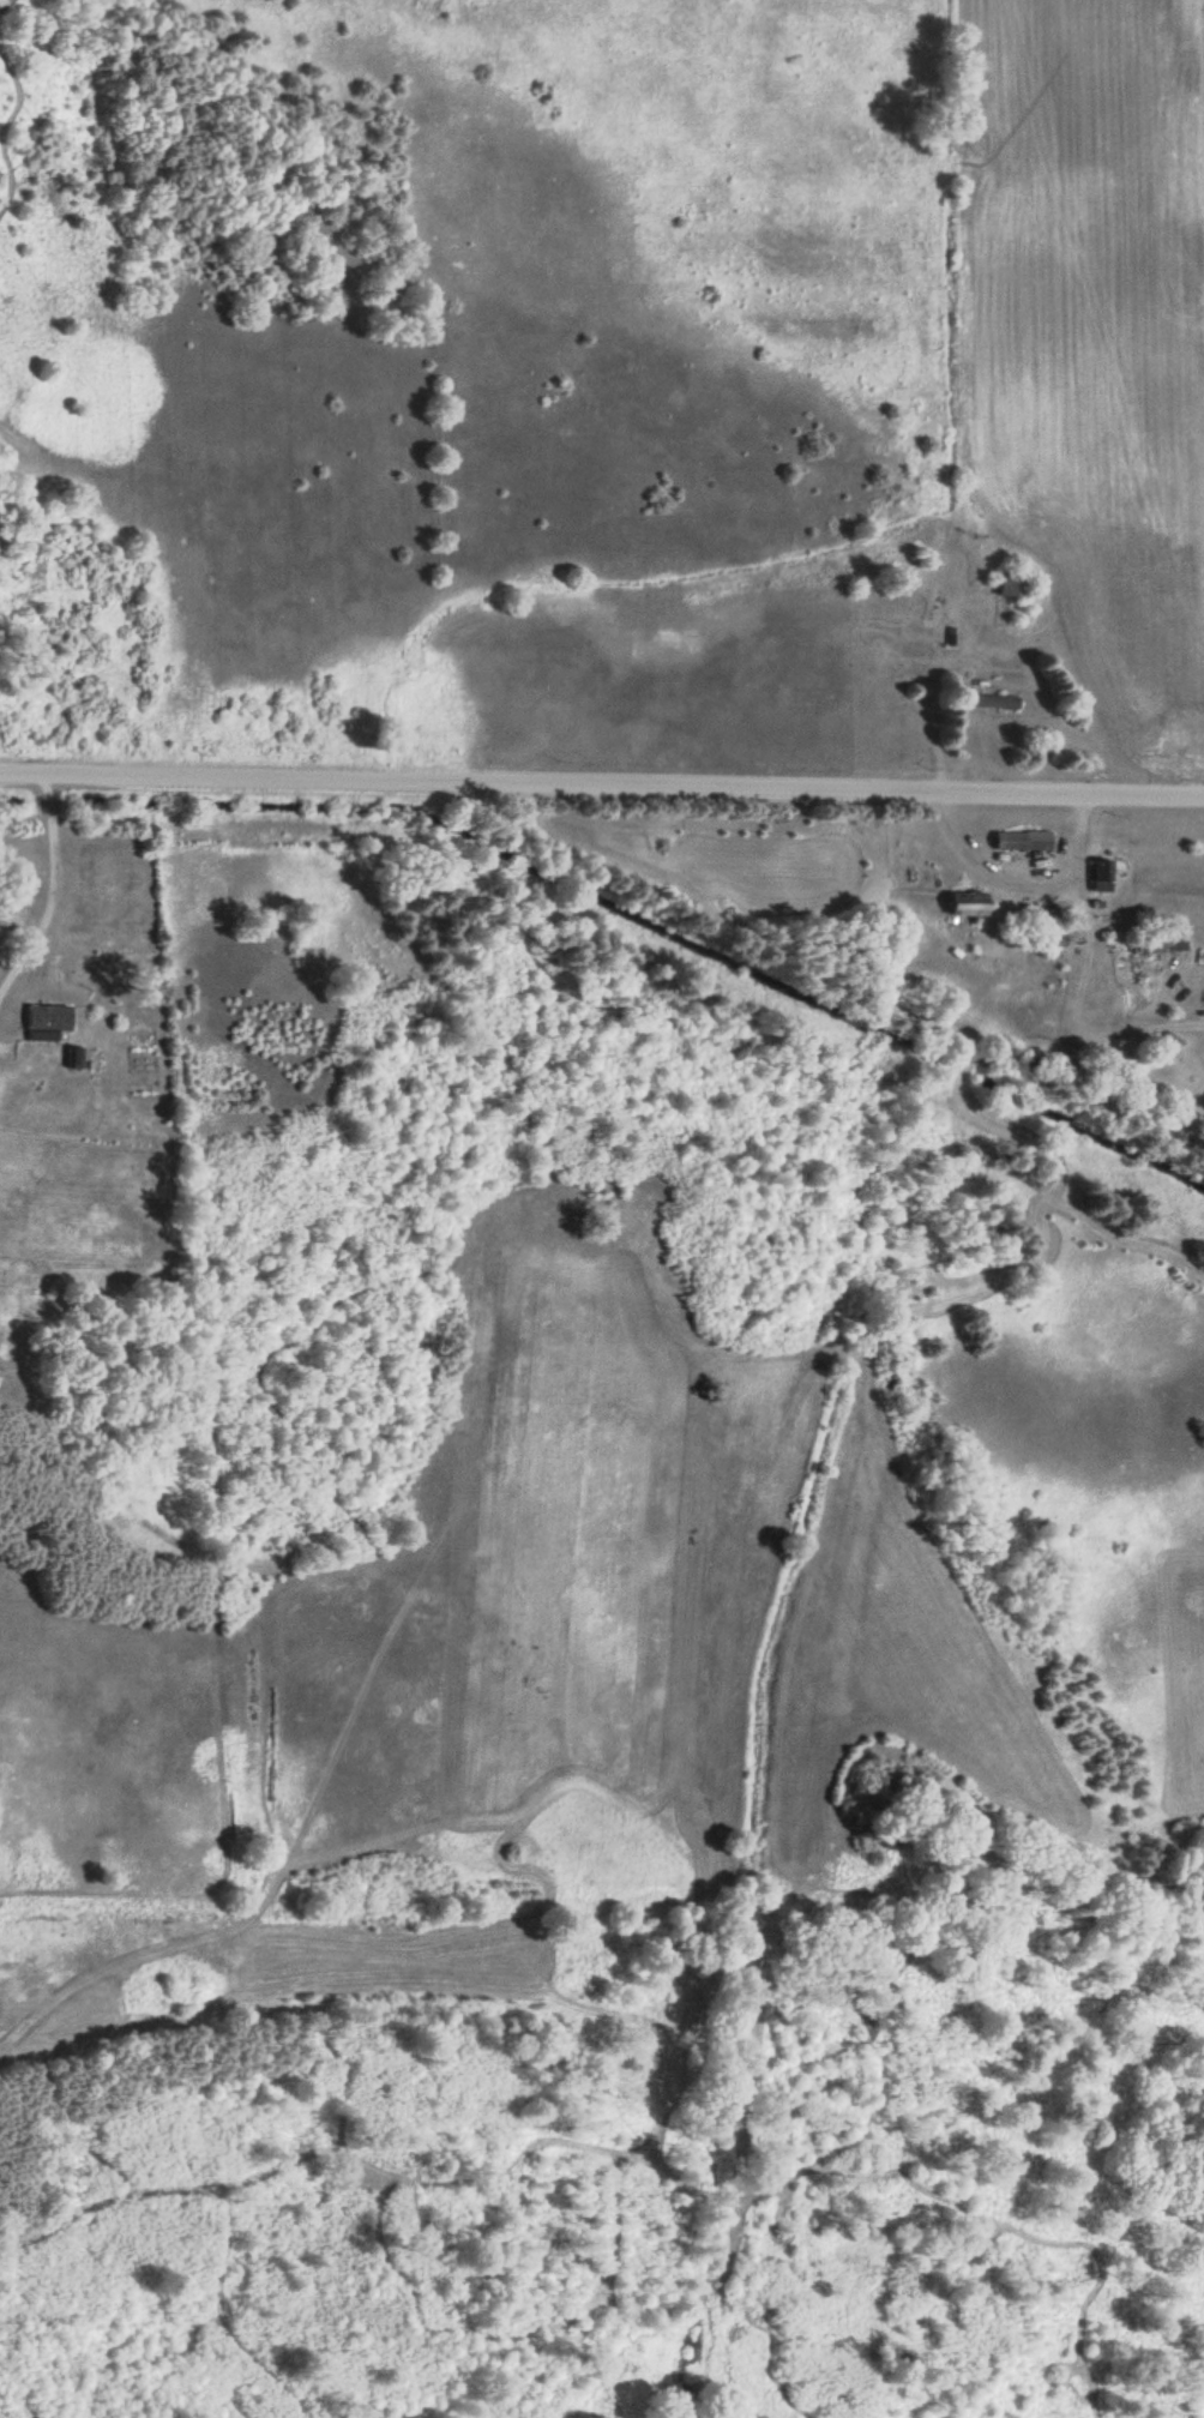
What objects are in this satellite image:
building: (1010, 582)
building: (985, 700)
road: (602, 793)
building: (1018, 840)
building: (1097, 874)
building: (961, 903)
building: (1156, 943)
building: (42, 1017)
building: (70, 1057)

